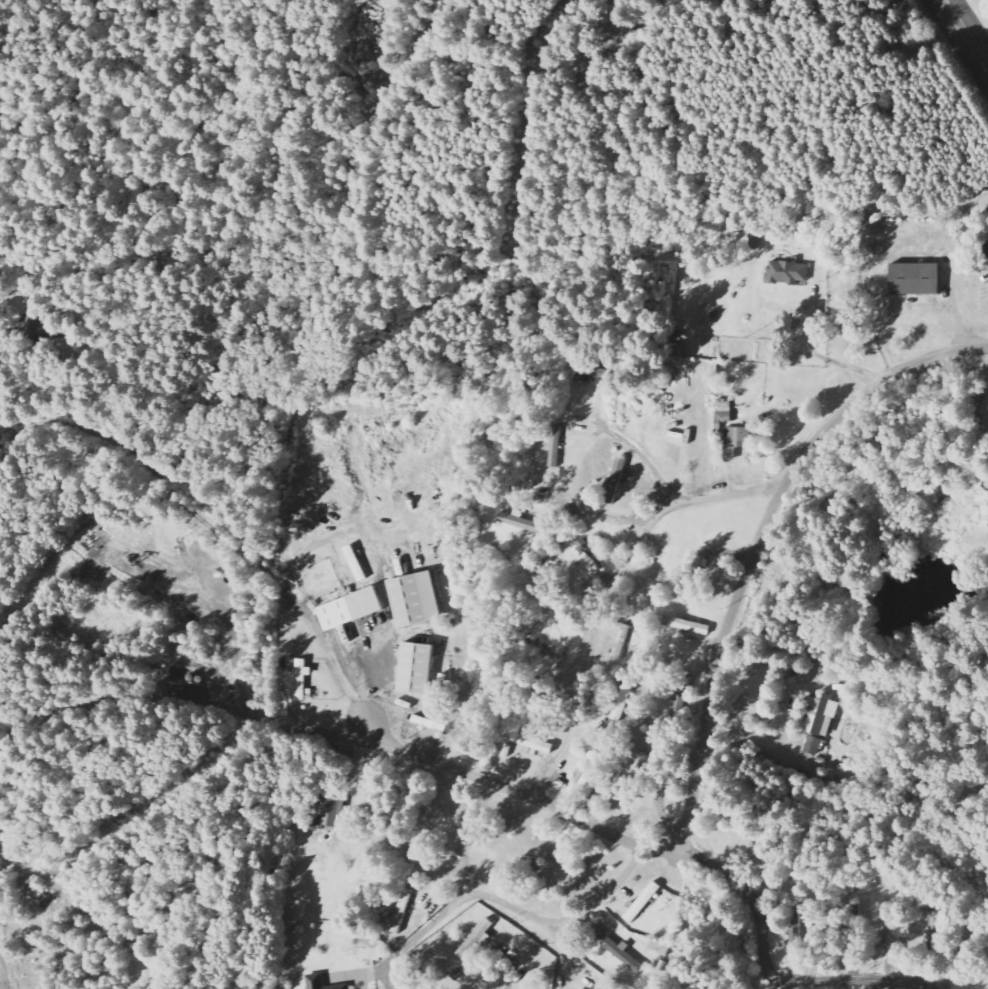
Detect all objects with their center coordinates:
road: (965, 32)
road: (568, 63)
building: (786, 273)
building: (912, 280)
building: (676, 350)
building: (723, 415)
building: (737, 436)
road: (640, 453)
building: (729, 454)
building: (984, 460)
building: (618, 480)
building: (523, 522)
road: (221, 533)
road: (339, 534)
building: (593, 551)
building: (405, 568)
road: (608, 590)
building: (336, 598)
building: (422, 599)
road: (216, 601)
building: (356, 610)
building: (693, 626)
building: (305, 680)
road: (711, 696)
building: (623, 701)
road: (109, 702)
building: (681, 706)
building: (826, 716)
road: (301, 727)
building: (534, 742)
building: (816, 745)
building: (589, 773)
building: (335, 811)
building: (646, 902)
road: (528, 911)
building: (934, 933)
building: (480, 938)
building: (619, 949)
building: (501, 960)
road: (770, 965)
building: (324, 983)

